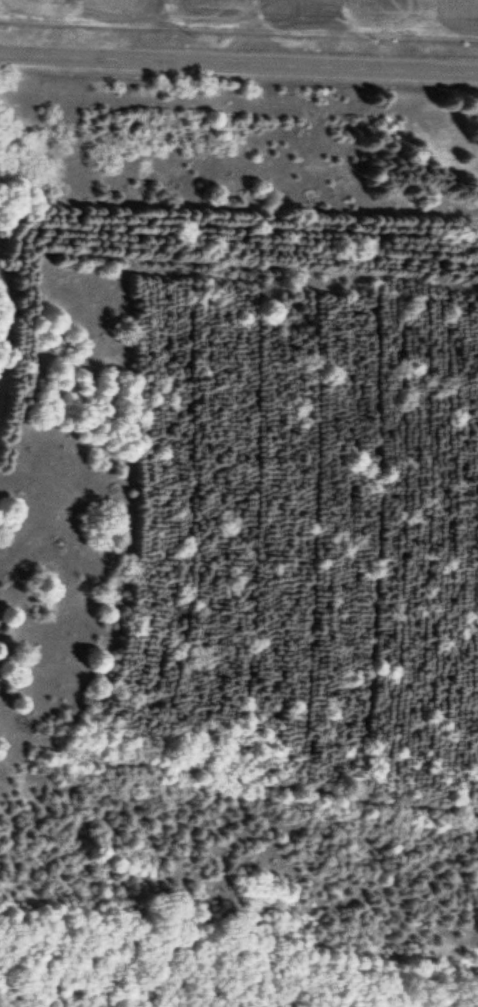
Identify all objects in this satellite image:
road: (239, 62)

